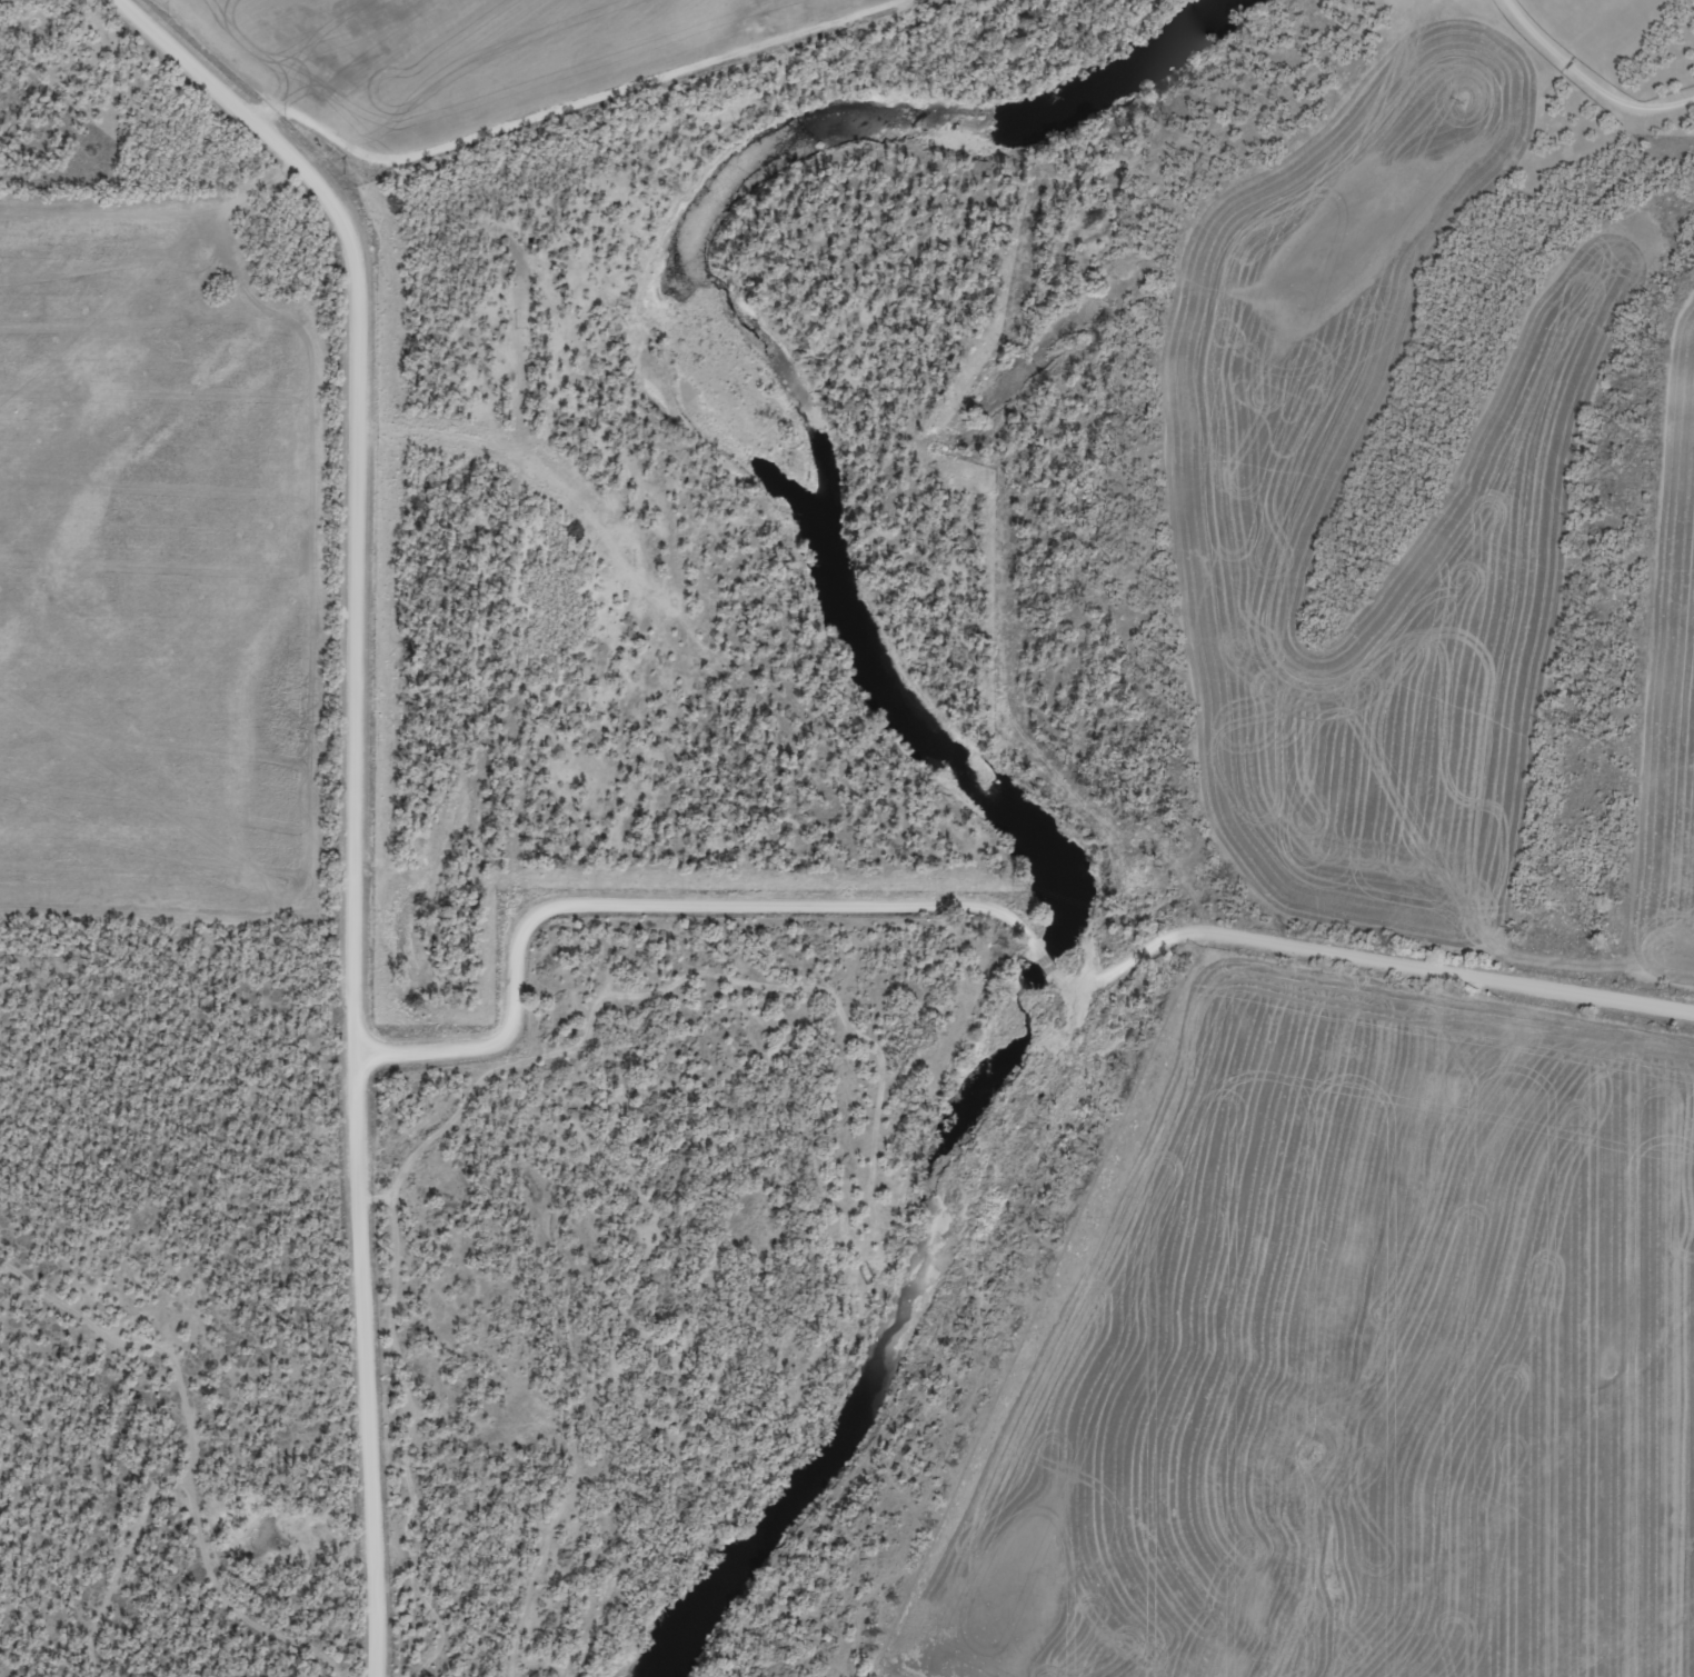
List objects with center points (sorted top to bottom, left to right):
road: (362, 793)
road: (690, 907)
road: (1363, 959)
road: (1046, 961)

